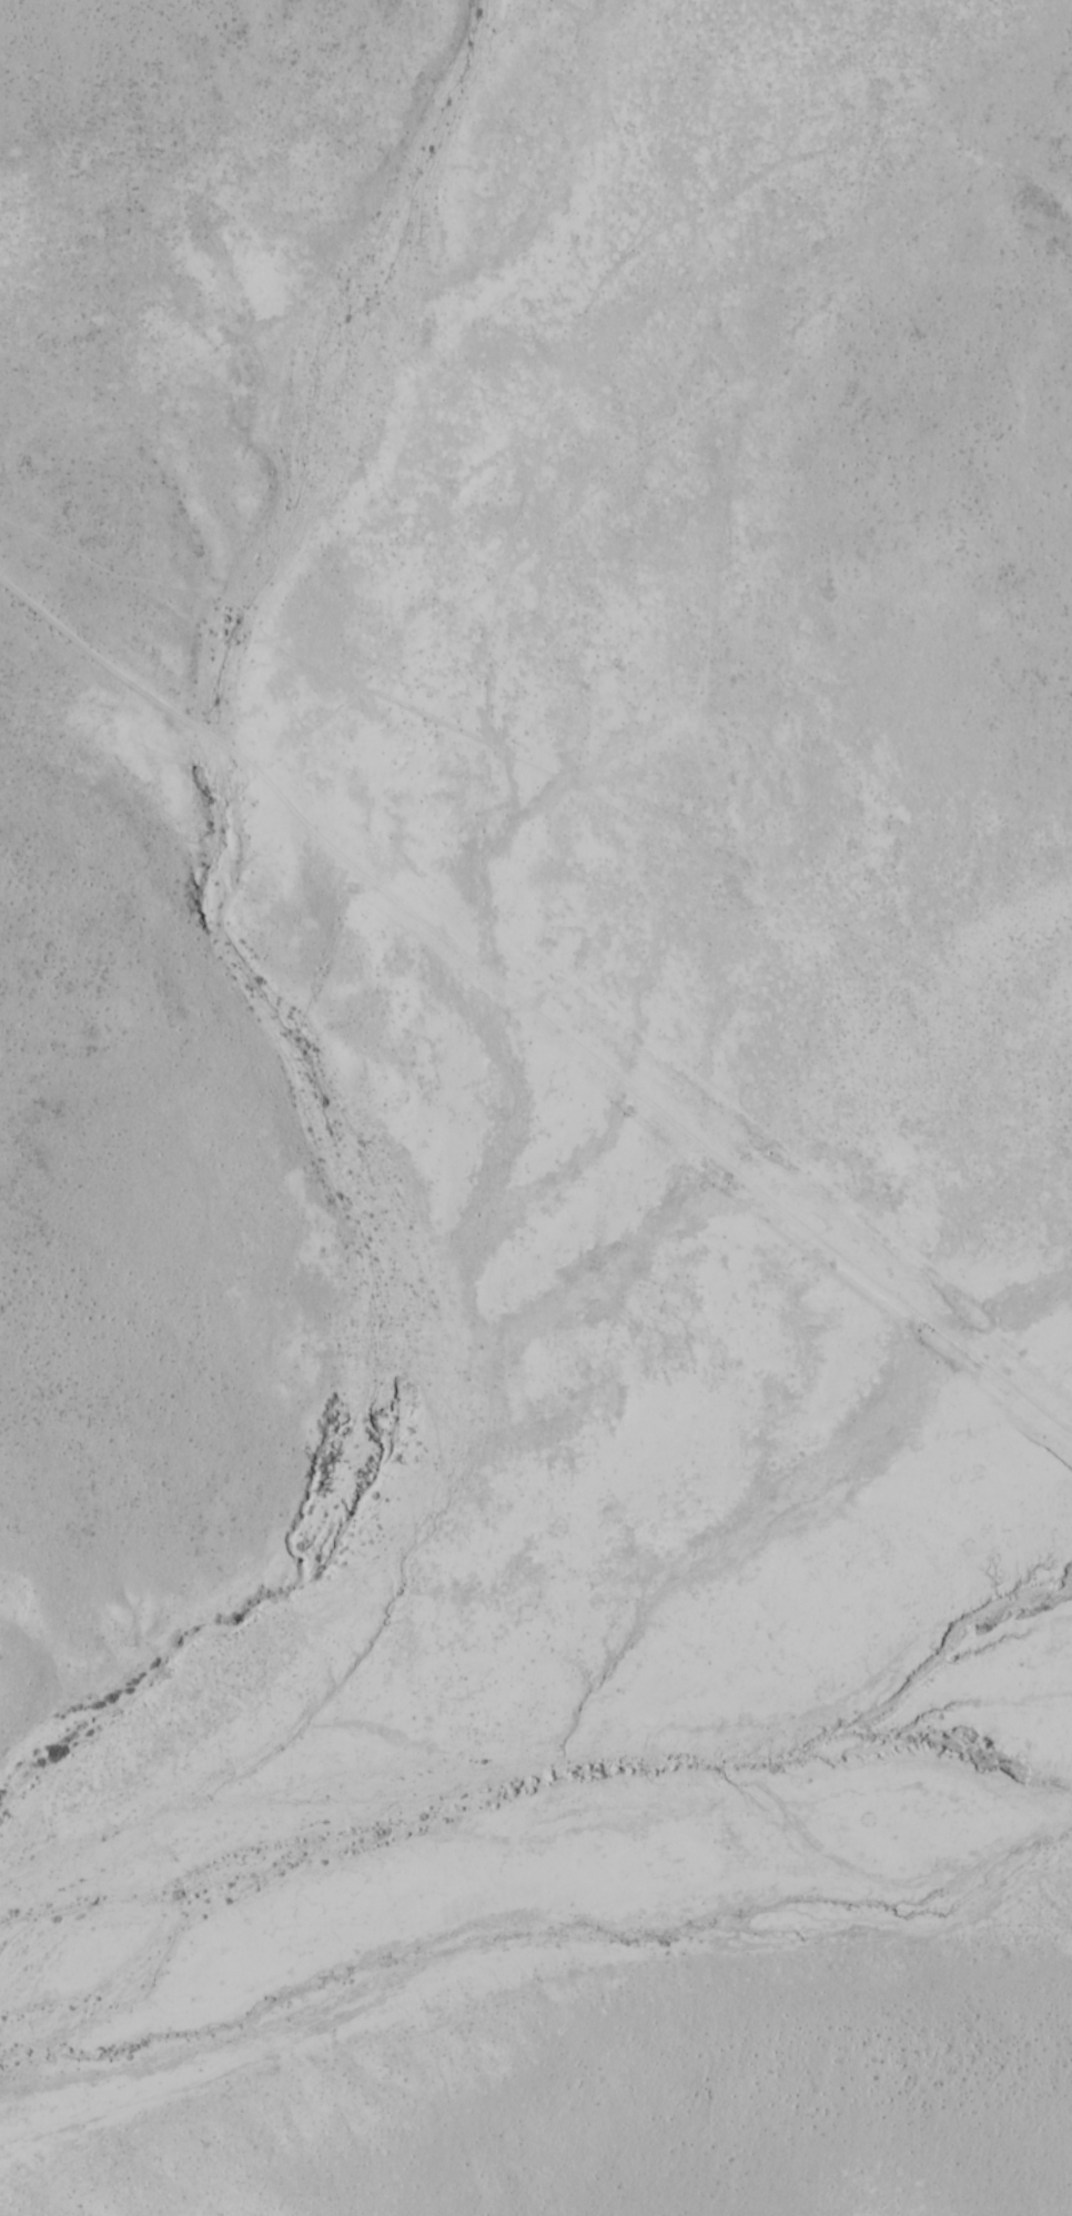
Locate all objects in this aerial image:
road: (566, 278)
road: (87, 595)
road: (580, 812)

